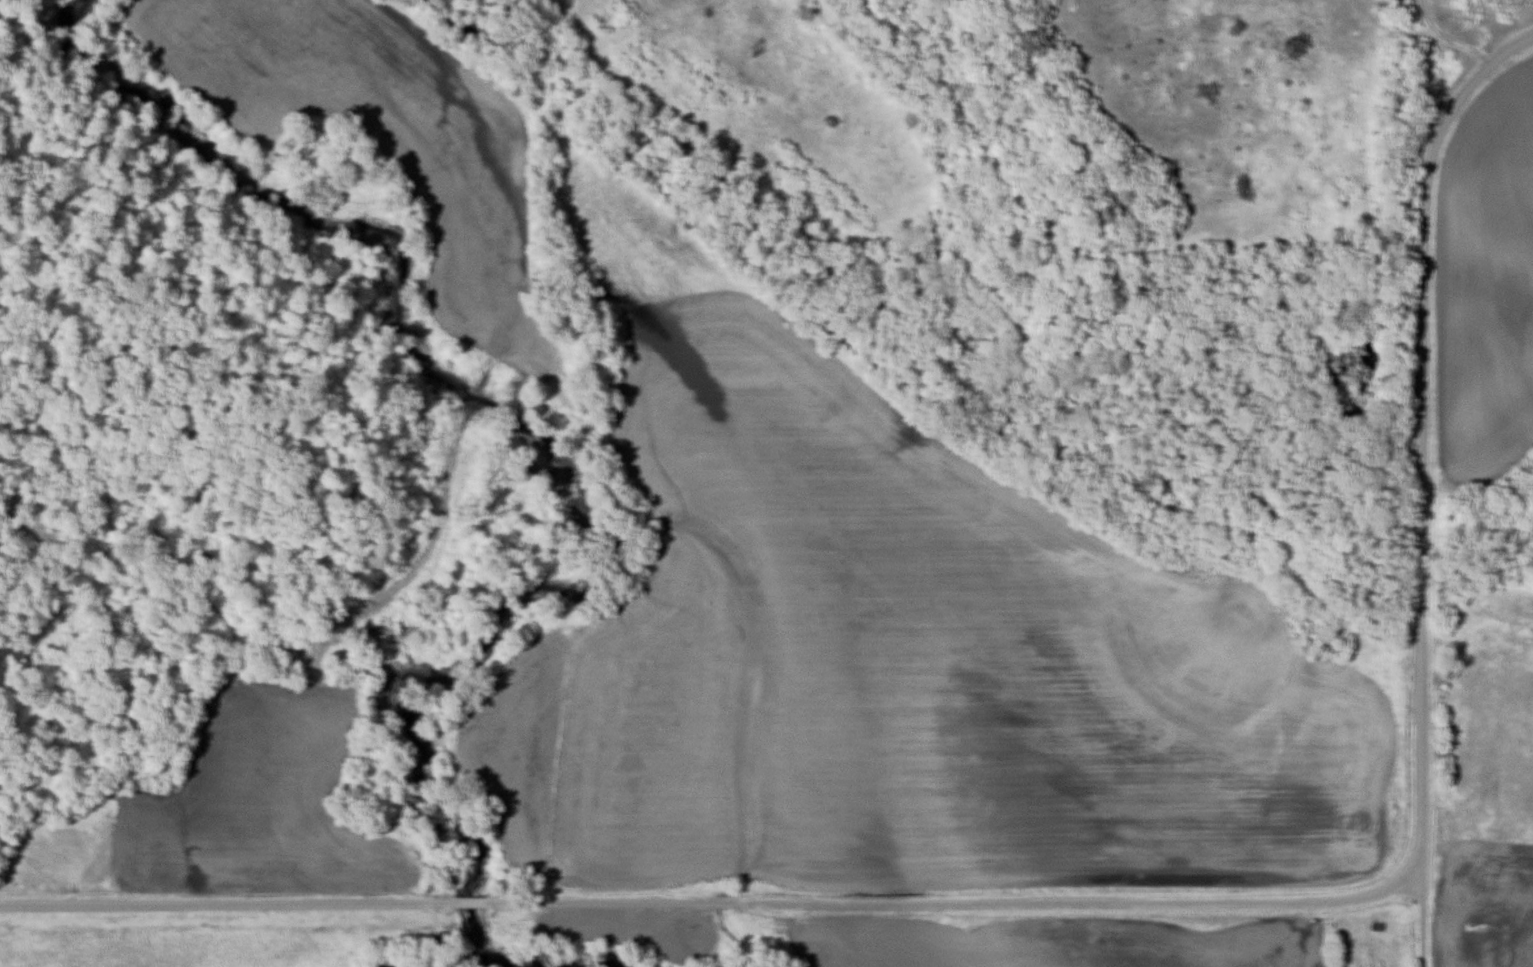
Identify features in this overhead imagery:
road: (1449, 39)
road: (1512, 48)
road: (1420, 493)
road: (1421, 877)
road: (711, 905)
road: (1422, 937)

